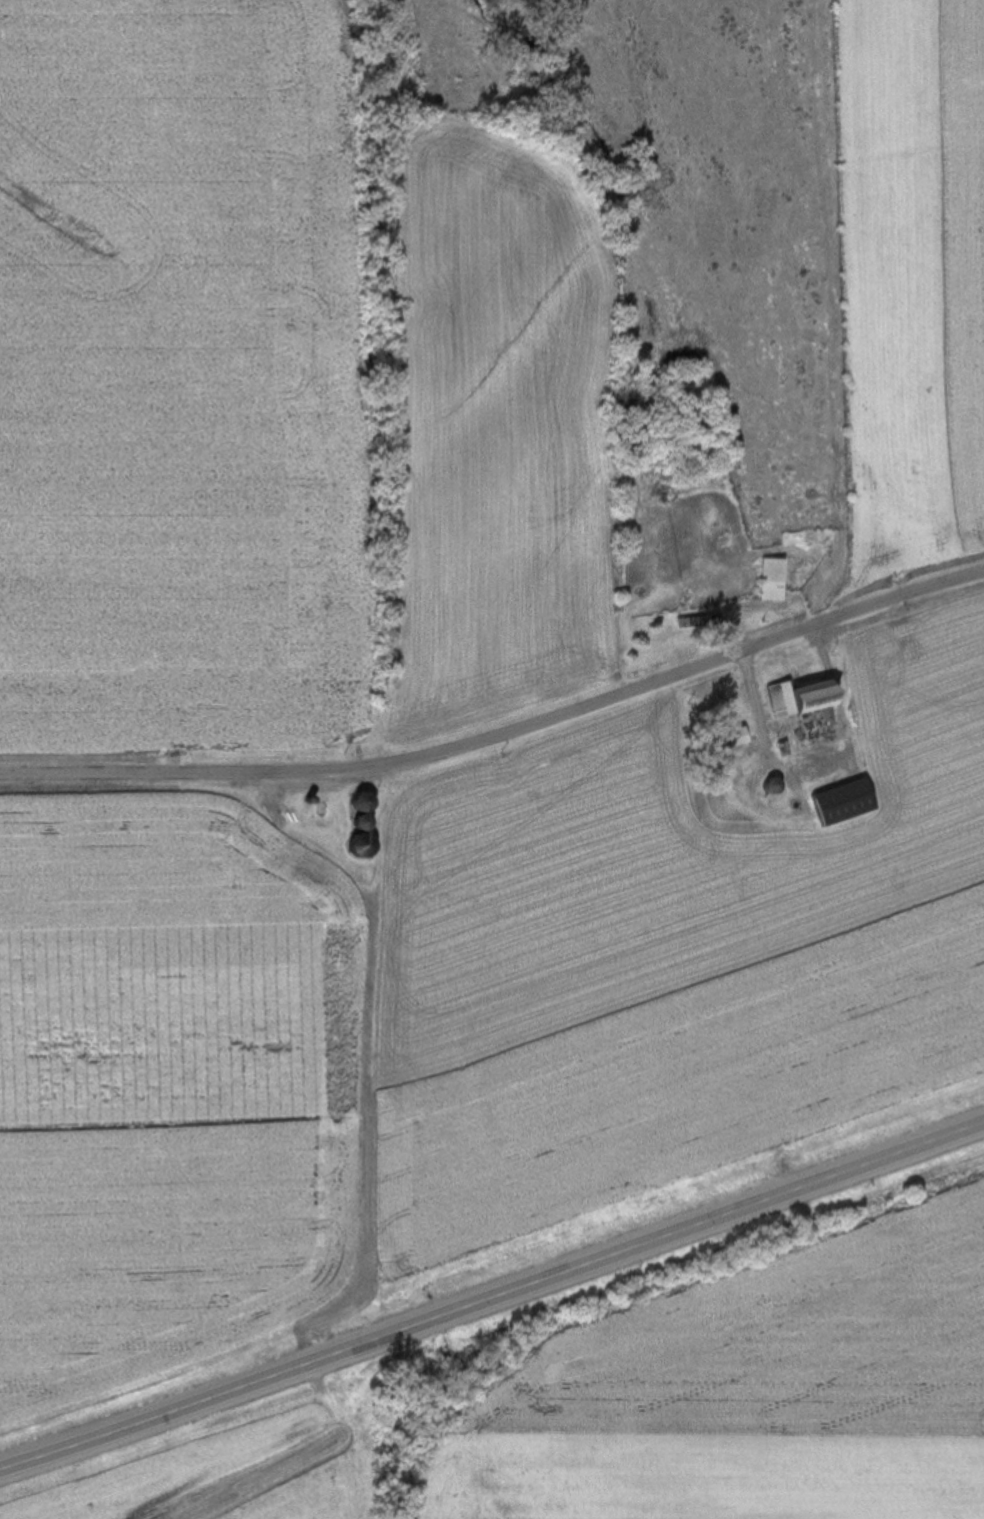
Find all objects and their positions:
building: (776, 580)
building: (826, 697)
building: (785, 700)
road: (502, 730)
building: (737, 738)
building: (852, 803)
road: (493, 1299)

